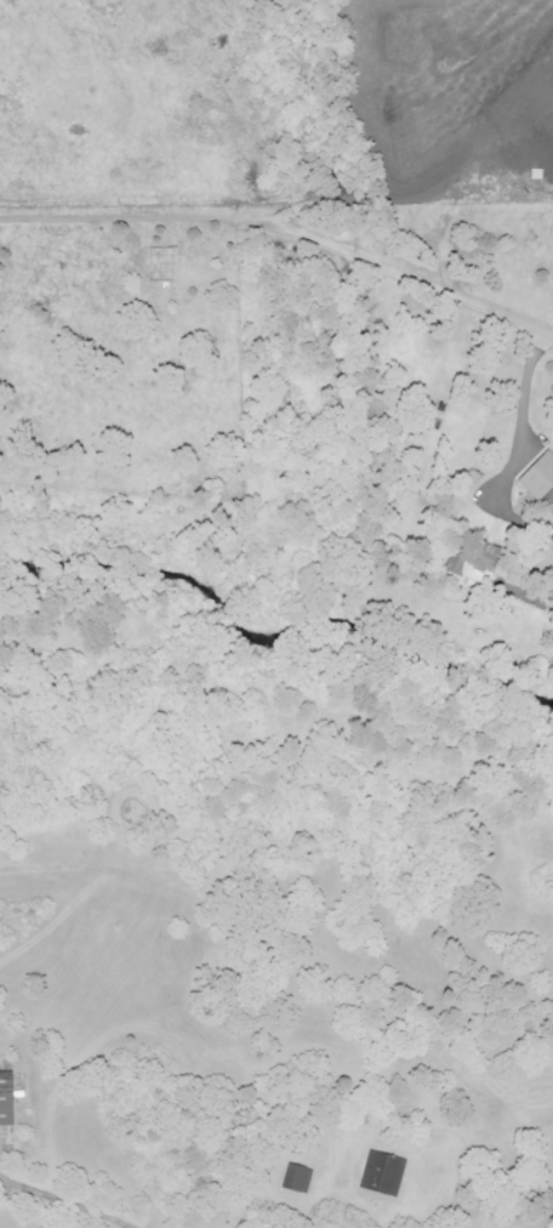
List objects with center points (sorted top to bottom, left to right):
road: (280, 232)
road: (520, 394)
building: (543, 479)
building: (480, 563)
building: (7, 1099)
building: (386, 1173)
building: (297, 1178)
road: (62, 1203)

